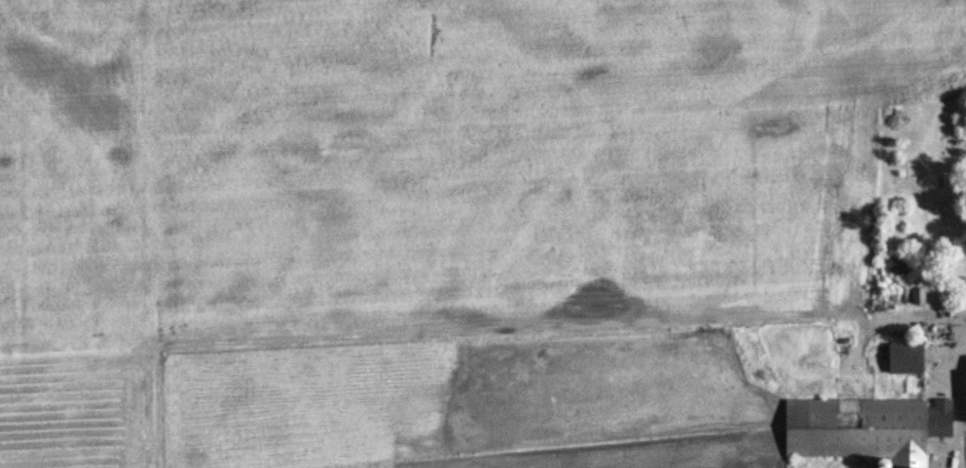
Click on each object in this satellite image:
building: (894, 268)
building: (902, 360)
building: (964, 390)
road: (955, 399)
building: (863, 429)

